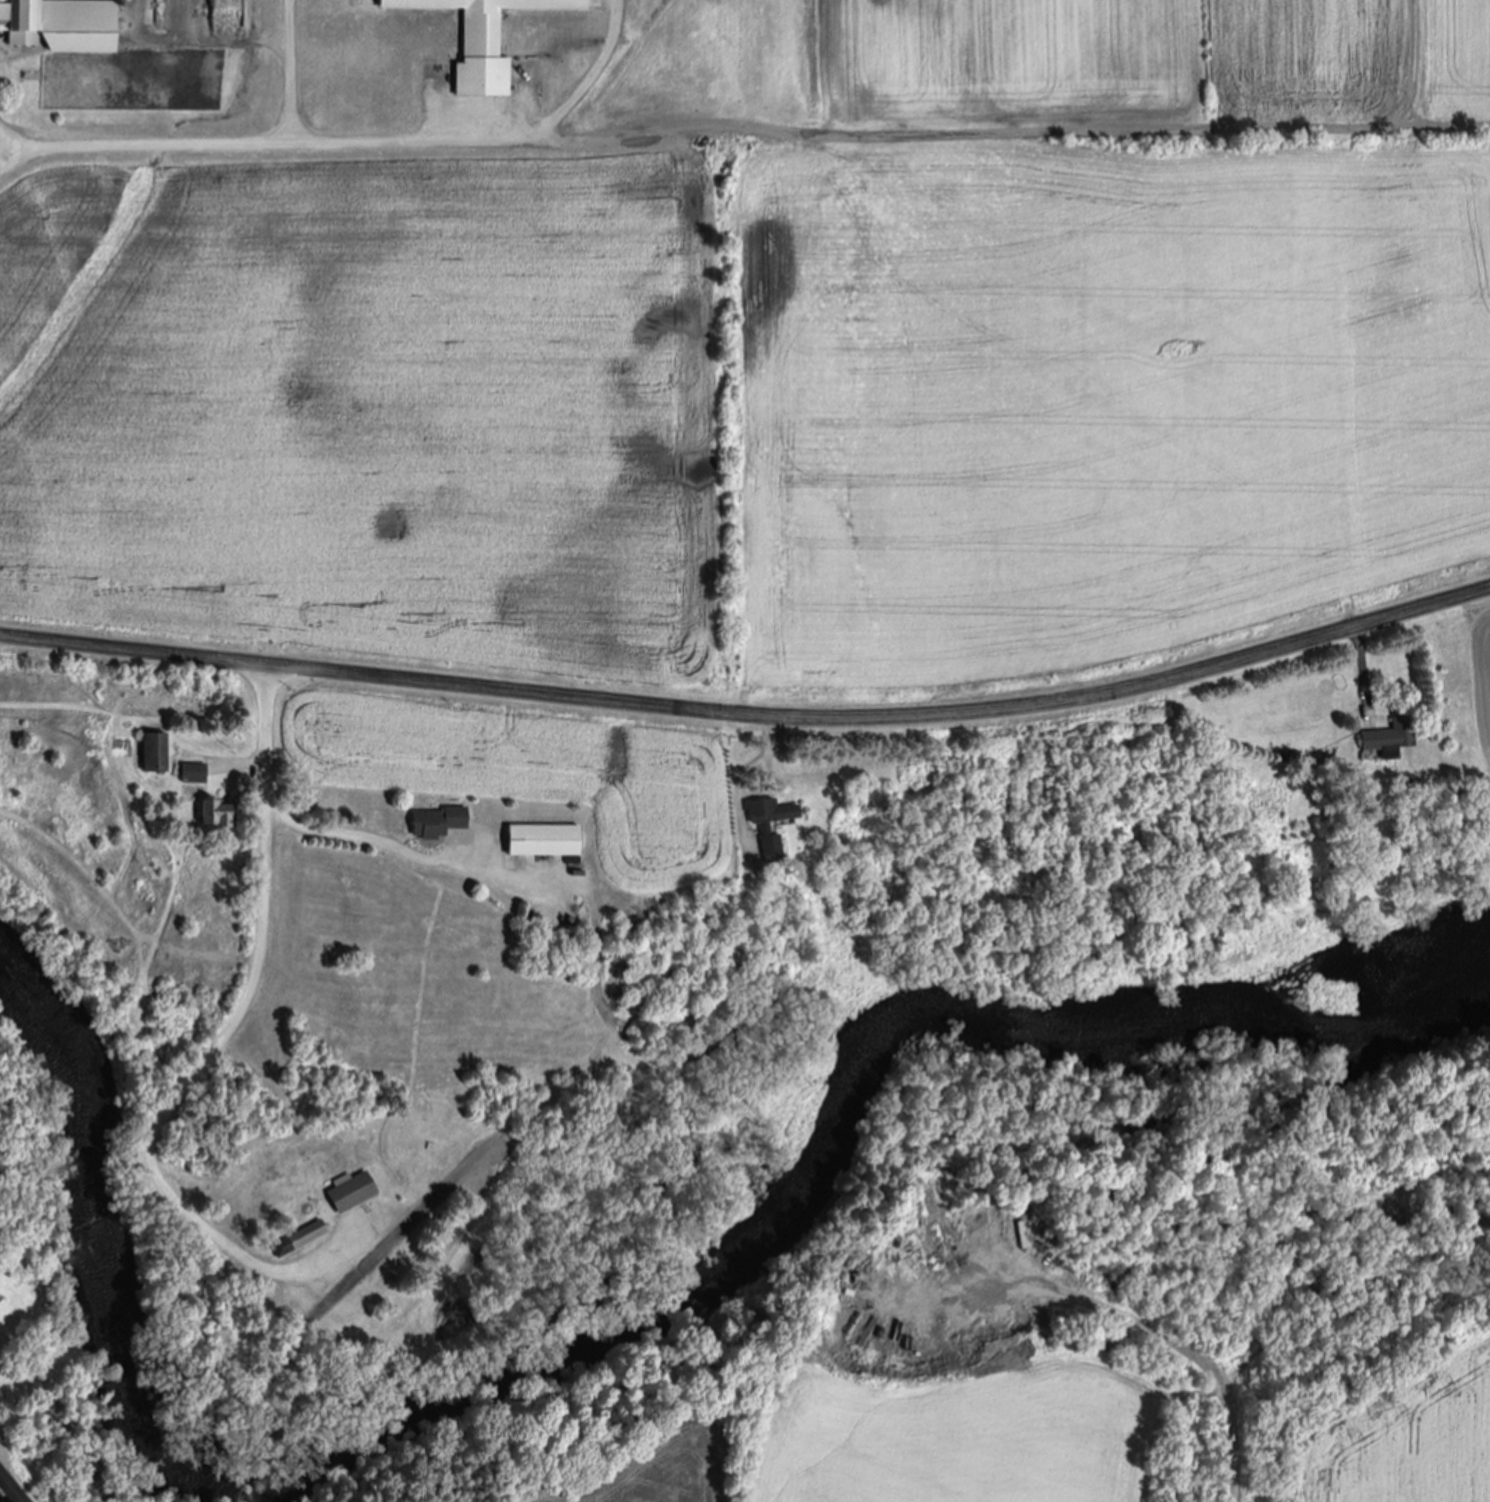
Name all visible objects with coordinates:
building: (61, 26)
building: (484, 38)
road: (284, 71)
road: (7, 136)
road: (494, 140)
road: (139, 145)
road: (1361, 671)
road: (751, 715)
building: (1390, 739)
building: (156, 753)
road: (248, 762)
building: (194, 774)
road: (739, 775)
building: (217, 815)
building: (440, 823)
building: (763, 830)
building: (546, 841)
road: (406, 854)
road: (241, 1008)
river: (1009, 1024)
building: (353, 1192)
building: (299, 1240)
river: (101, 1245)
road: (1162, 1336)
river: (472, 1398)
road: (8, 1491)
road: (6, 1498)

